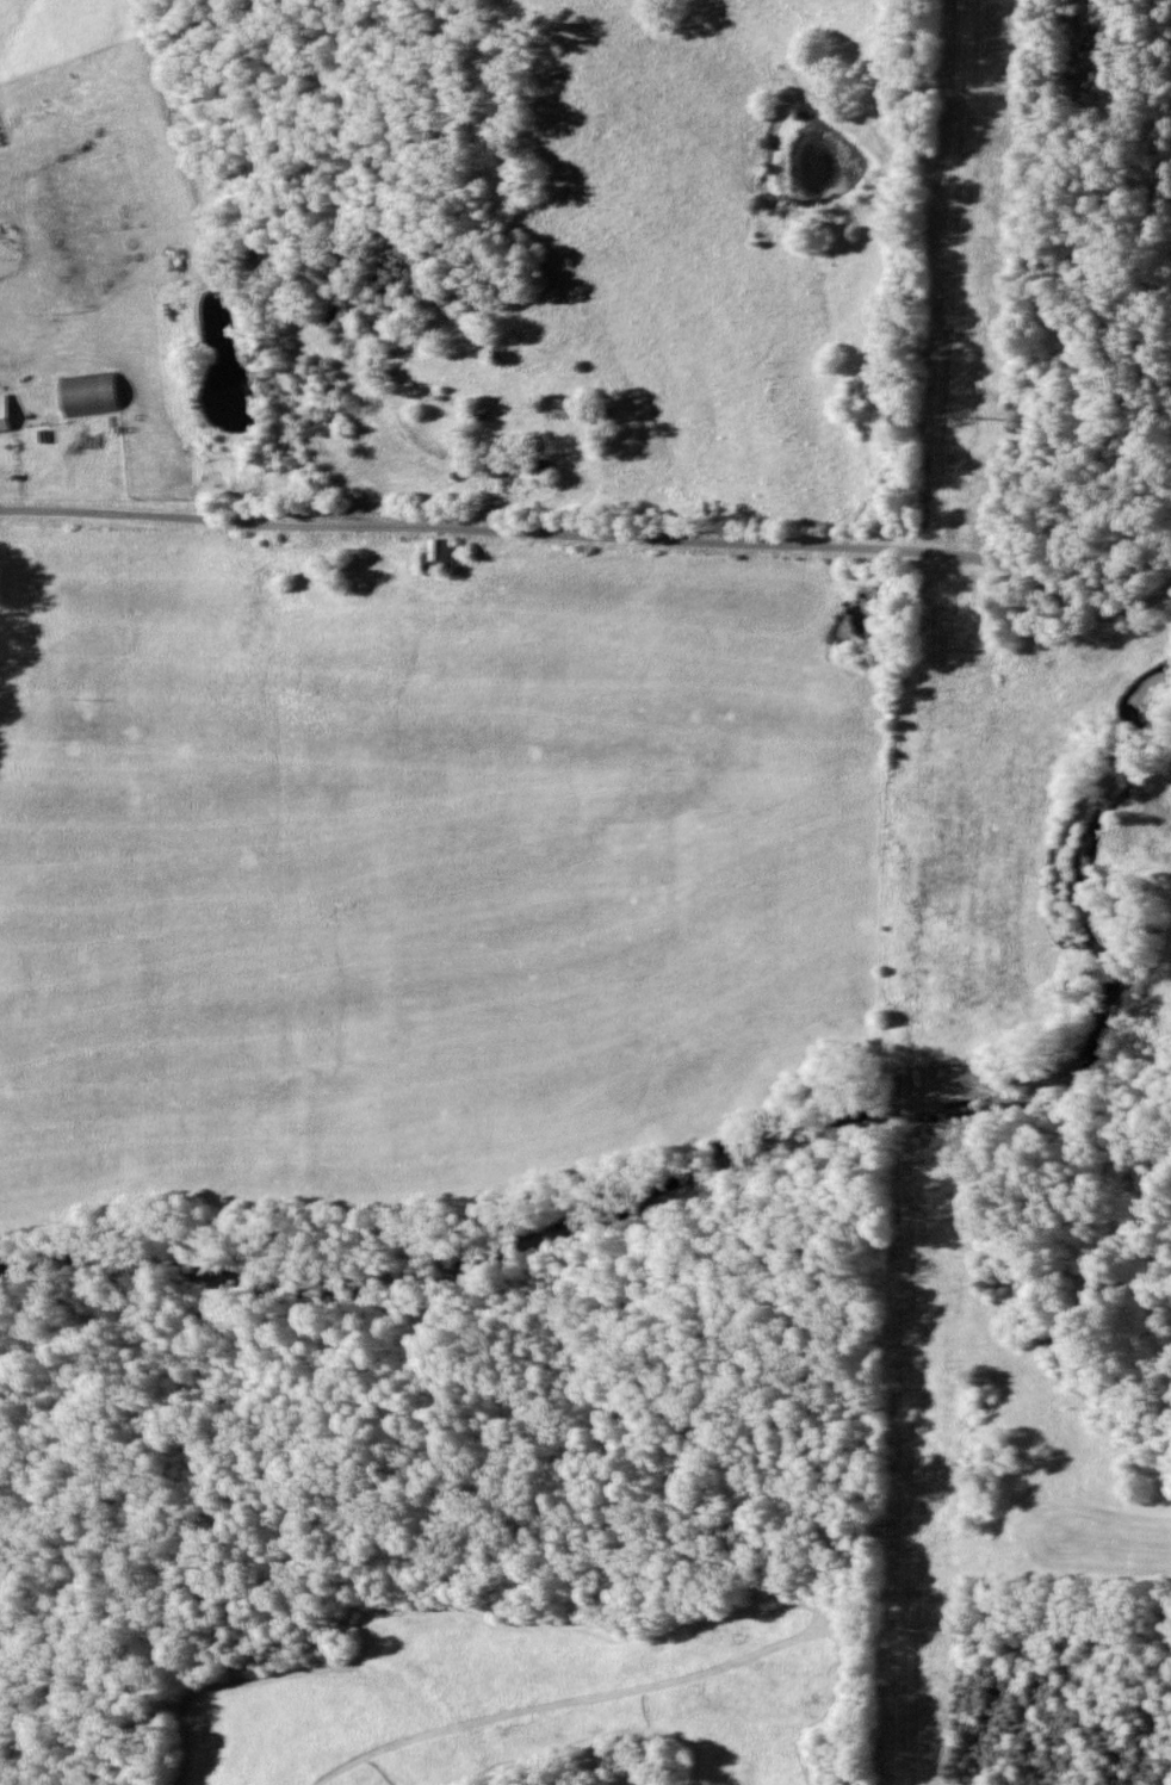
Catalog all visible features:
power tower: (958, 413)
building: (7, 415)
building: (516, 483)
road: (596, 533)
building: (441, 554)
power tower: (929, 1216)
power tower: (916, 1624)

